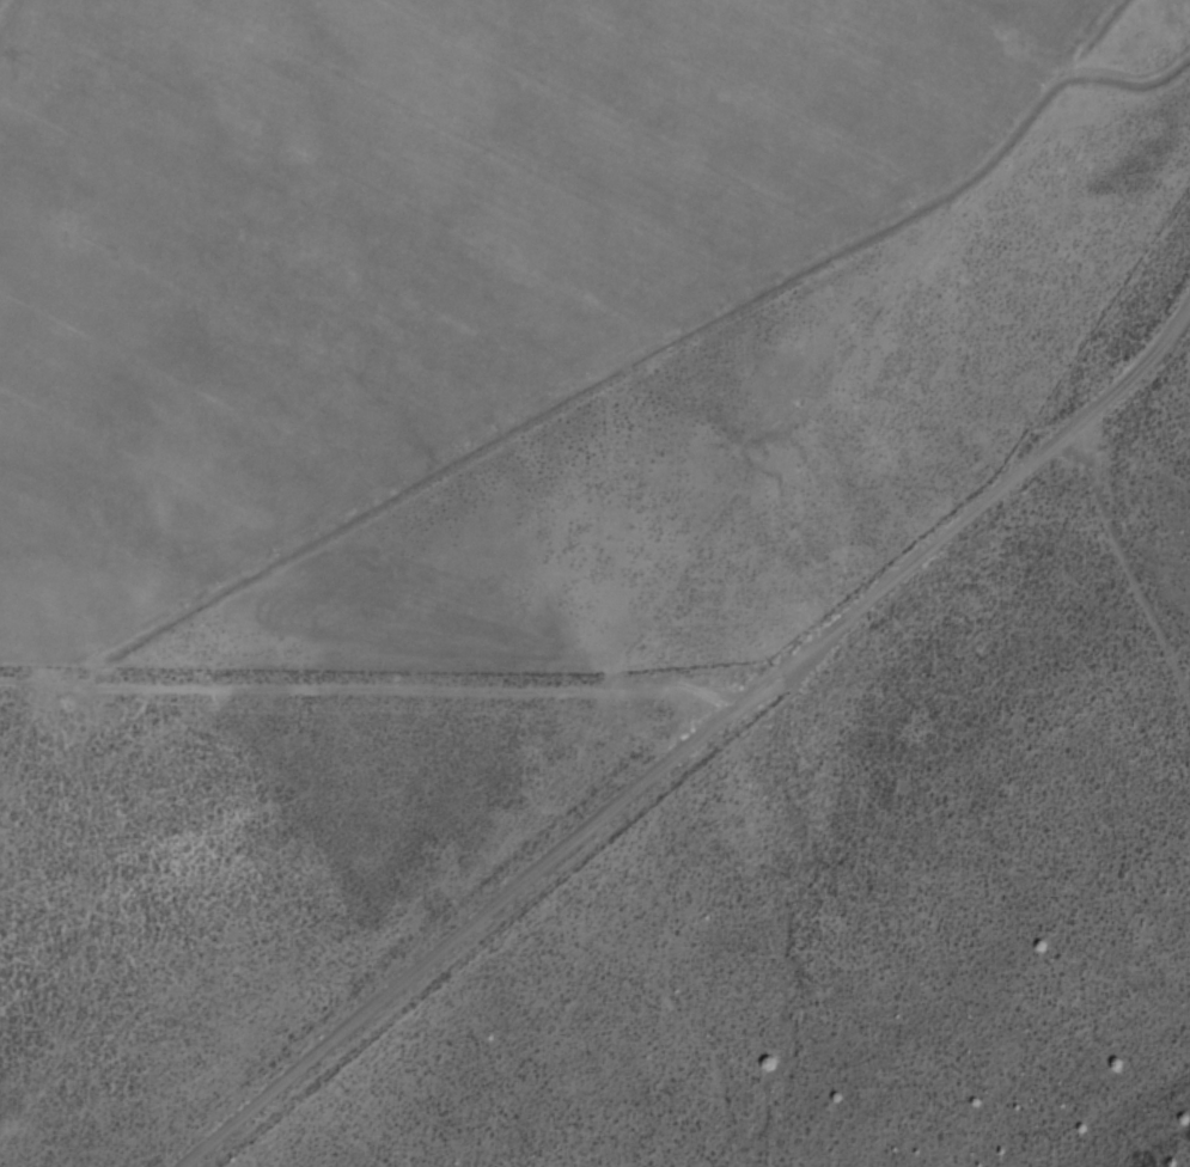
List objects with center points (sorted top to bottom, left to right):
road: (692, 744)

